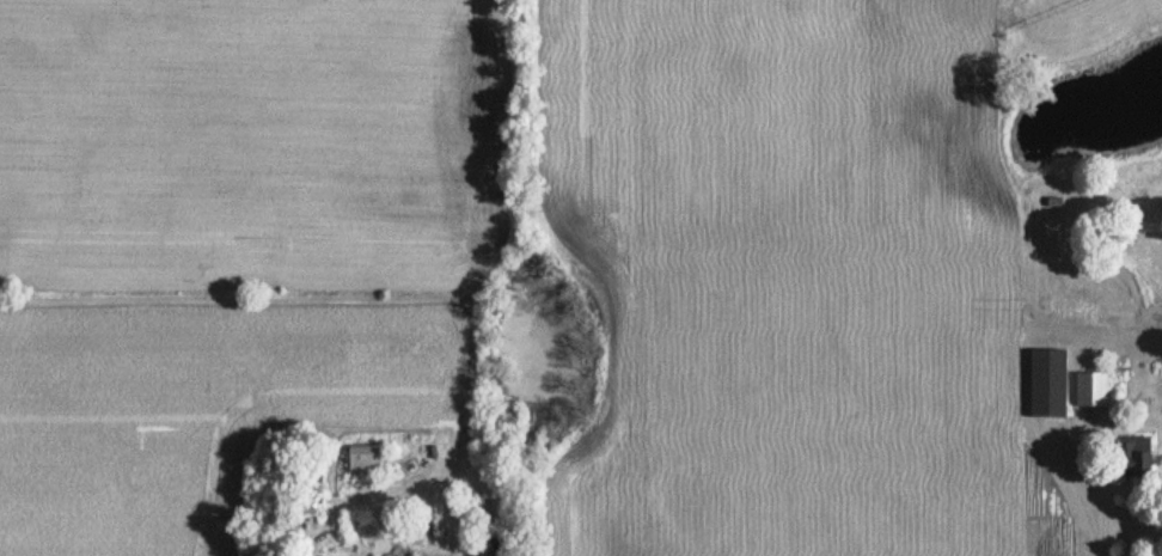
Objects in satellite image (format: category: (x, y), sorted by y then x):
building: (1046, 384)
building: (1089, 391)
building: (1132, 457)
building: (363, 460)
road: (1097, 509)

